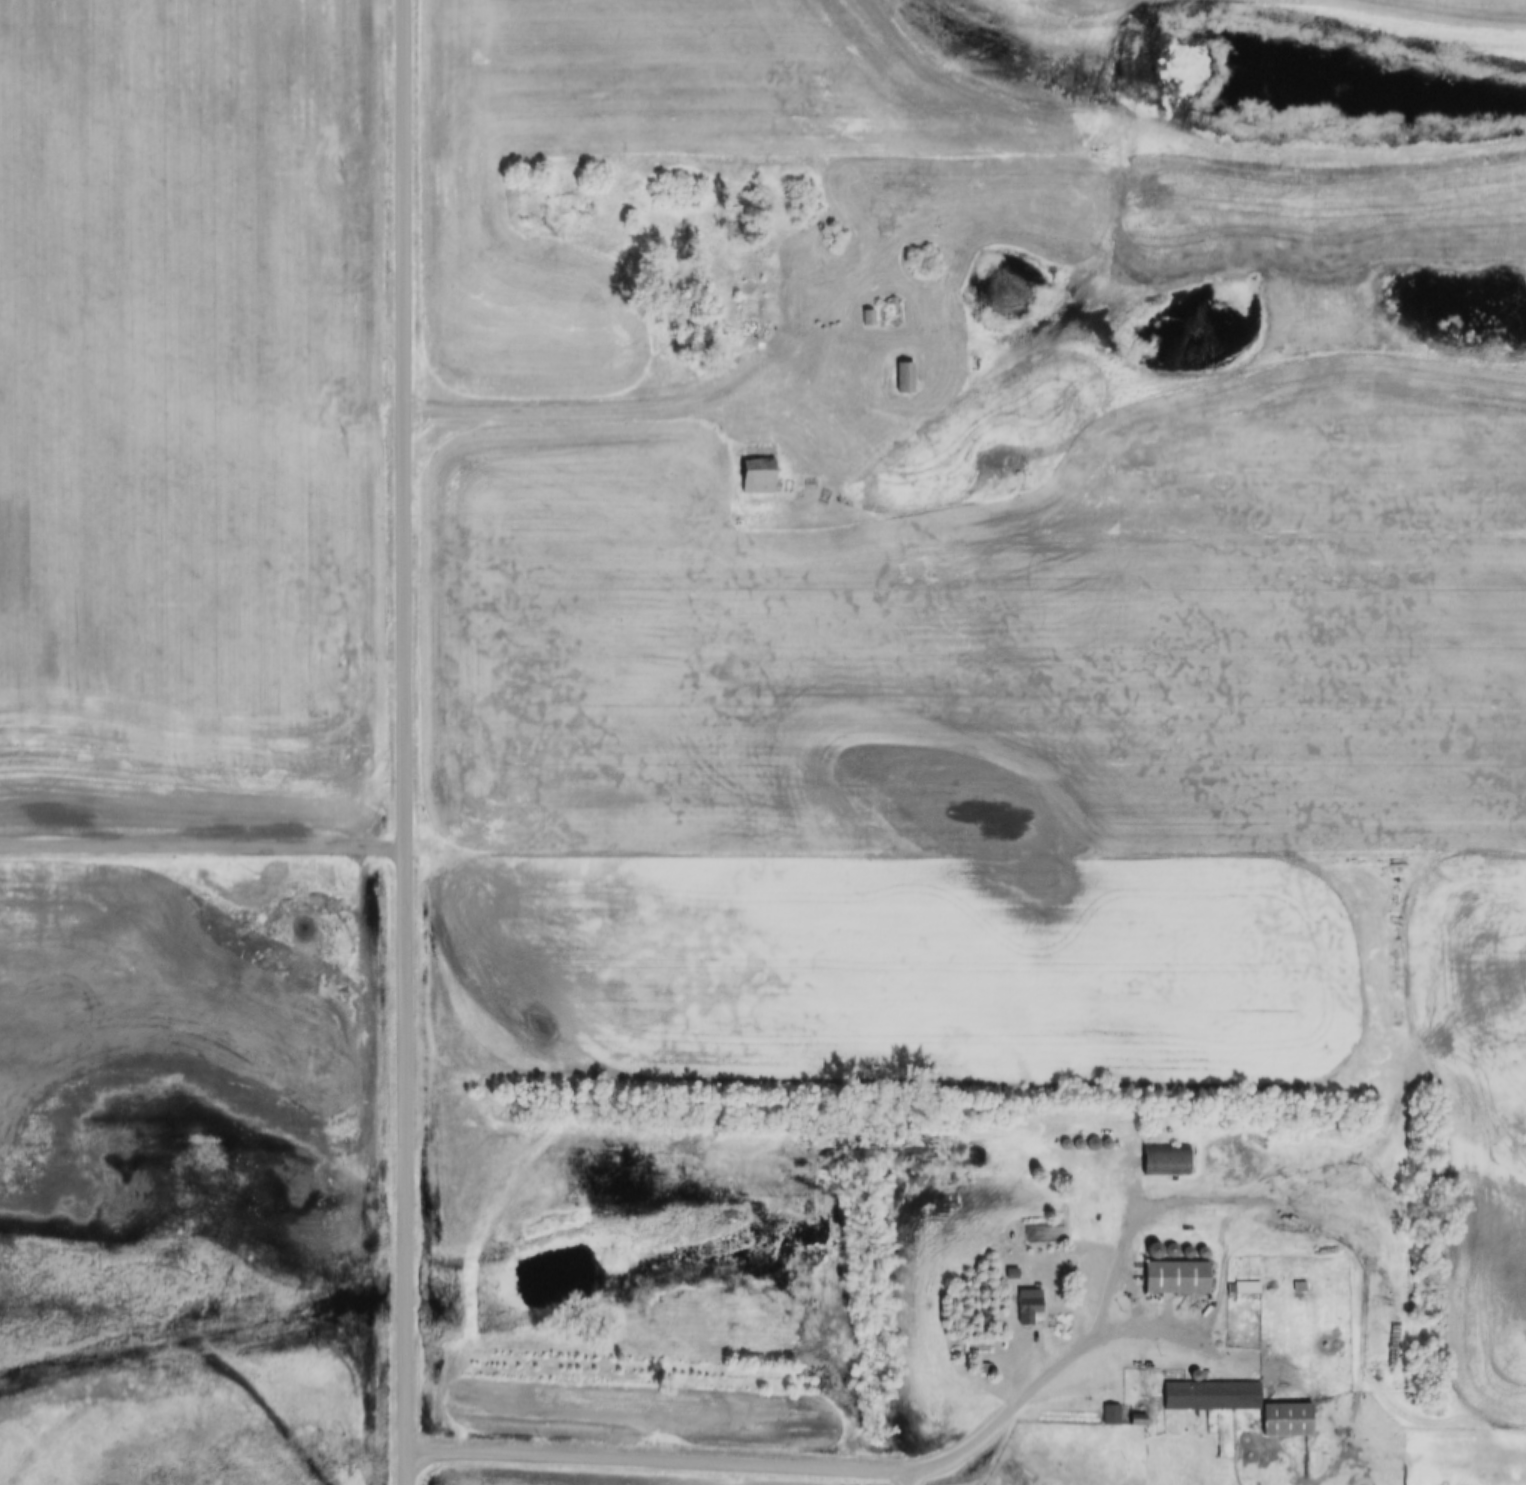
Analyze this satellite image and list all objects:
building: (905, 380)
road: (610, 413)
building: (754, 461)
road: (400, 742)
road: (200, 845)
road: (1140, 1216)
building: (1171, 1278)
road: (1362, 1284)
building: (1244, 1290)
building: (1027, 1307)
building: (1235, 1406)
road: (822, 1464)

